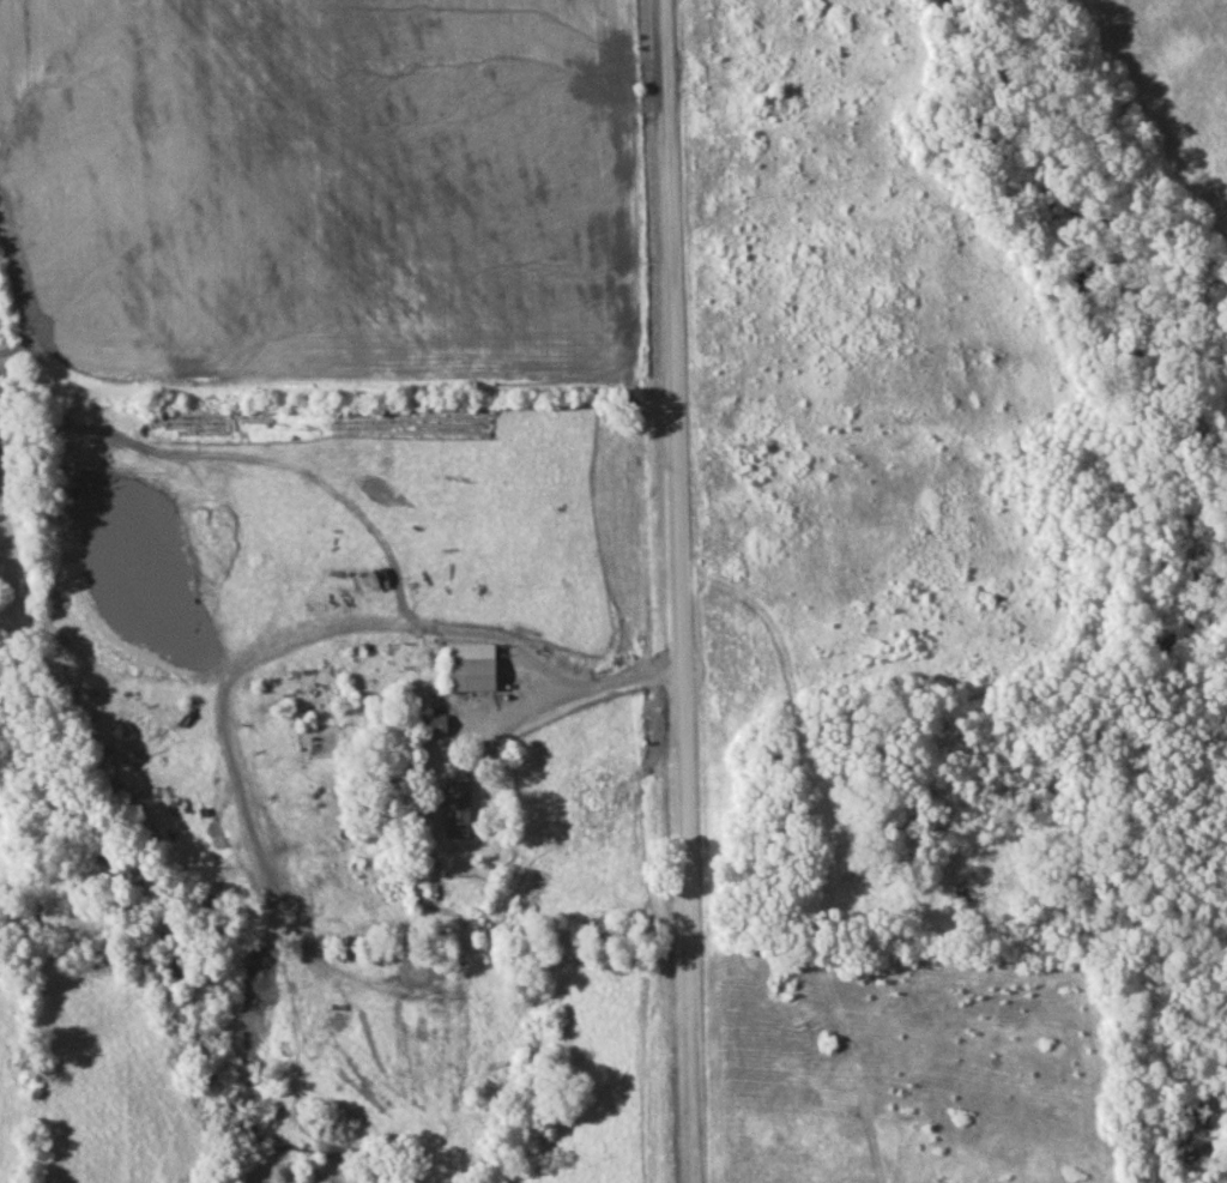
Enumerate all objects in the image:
road: (676, 591)
building: (477, 674)
road: (557, 710)
building: (433, 725)
building: (459, 809)
building: (415, 888)

